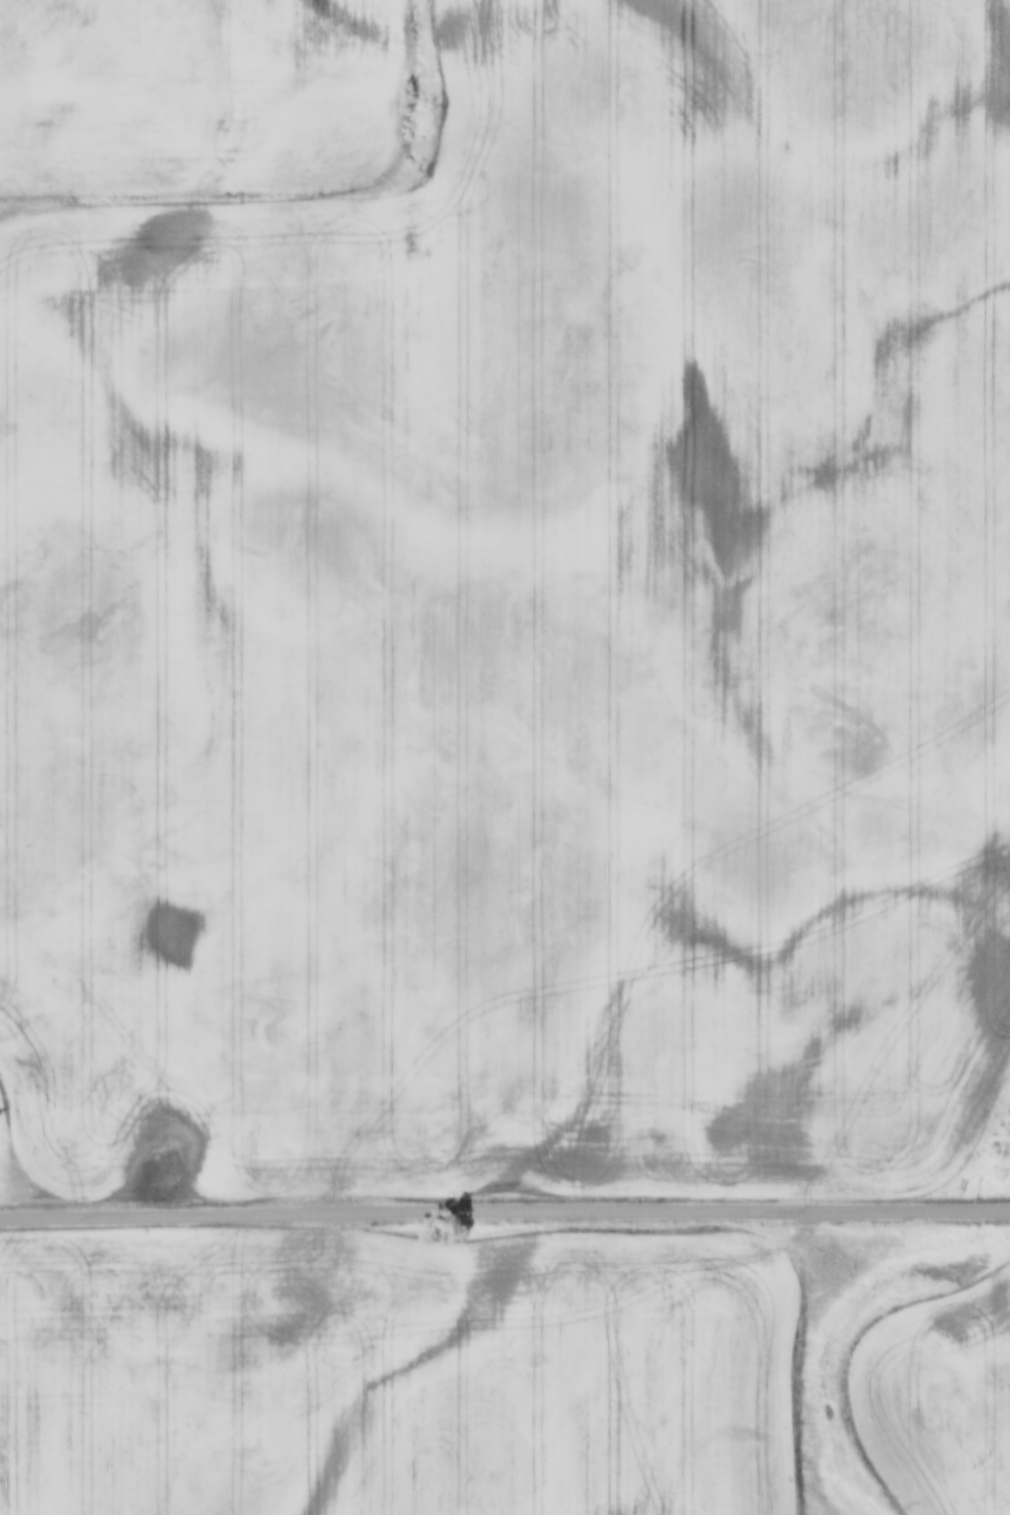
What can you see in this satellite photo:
road: (505, 1208)

